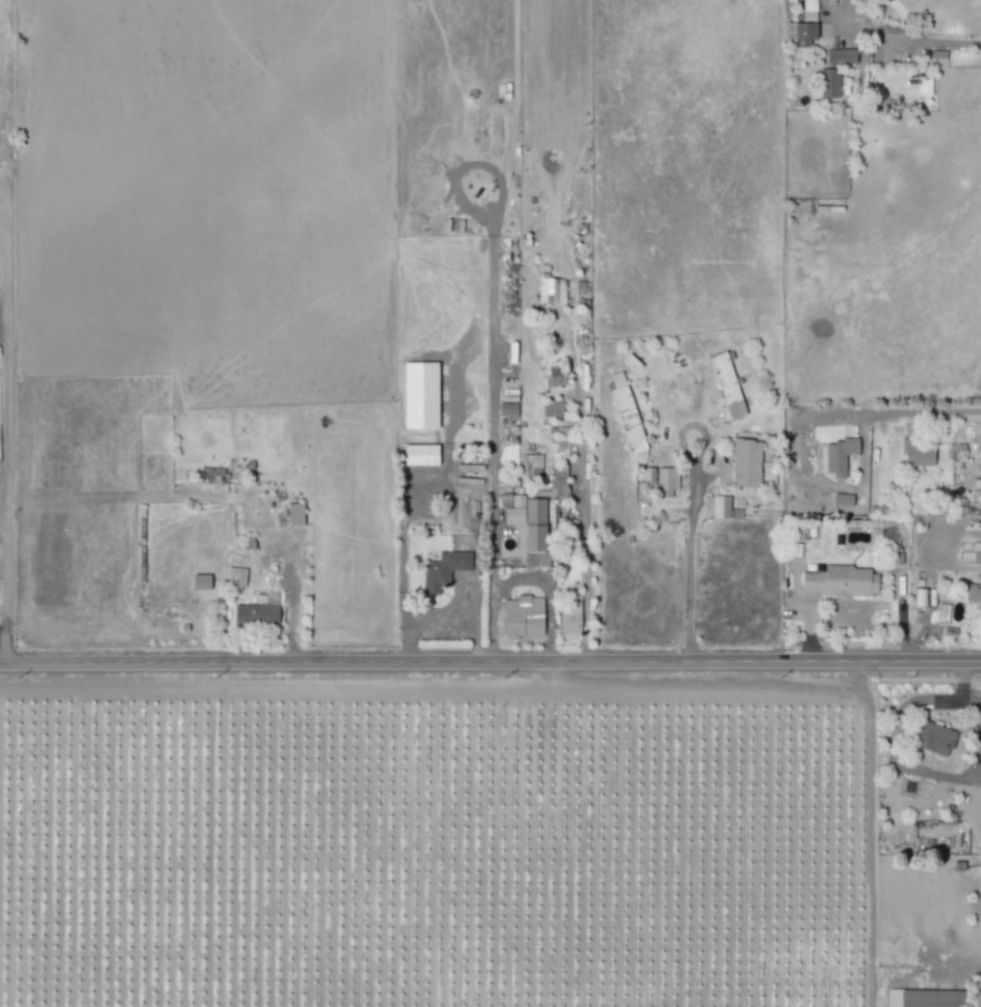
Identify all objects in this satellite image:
building: (798, 31)
road: (928, 42)
building: (837, 52)
building: (827, 84)
building: (549, 290)
building: (725, 385)
building: (549, 408)
building: (506, 409)
road: (893, 410)
building: (624, 413)
road: (5, 446)
building: (566, 447)
building: (418, 454)
building: (837, 455)
building: (916, 455)
building: (744, 463)
building: (647, 475)
building: (978, 479)
building: (557, 481)
building: (665, 482)
road: (494, 490)
building: (840, 500)
building: (718, 507)
building: (292, 514)
road: (2, 532)
building: (532, 532)
road: (402, 534)
road: (585, 552)
building: (443, 567)
road: (688, 575)
building: (233, 577)
building: (197, 582)
building: (838, 582)
road: (546, 592)
building: (973, 595)
building: (918, 597)
road: (293, 611)
building: (253, 614)
building: (526, 615)
building: (568, 615)
road: (427, 616)
road: (490, 662)
road: (965, 692)
building: (931, 738)
road: (980, 765)
building: (915, 998)

